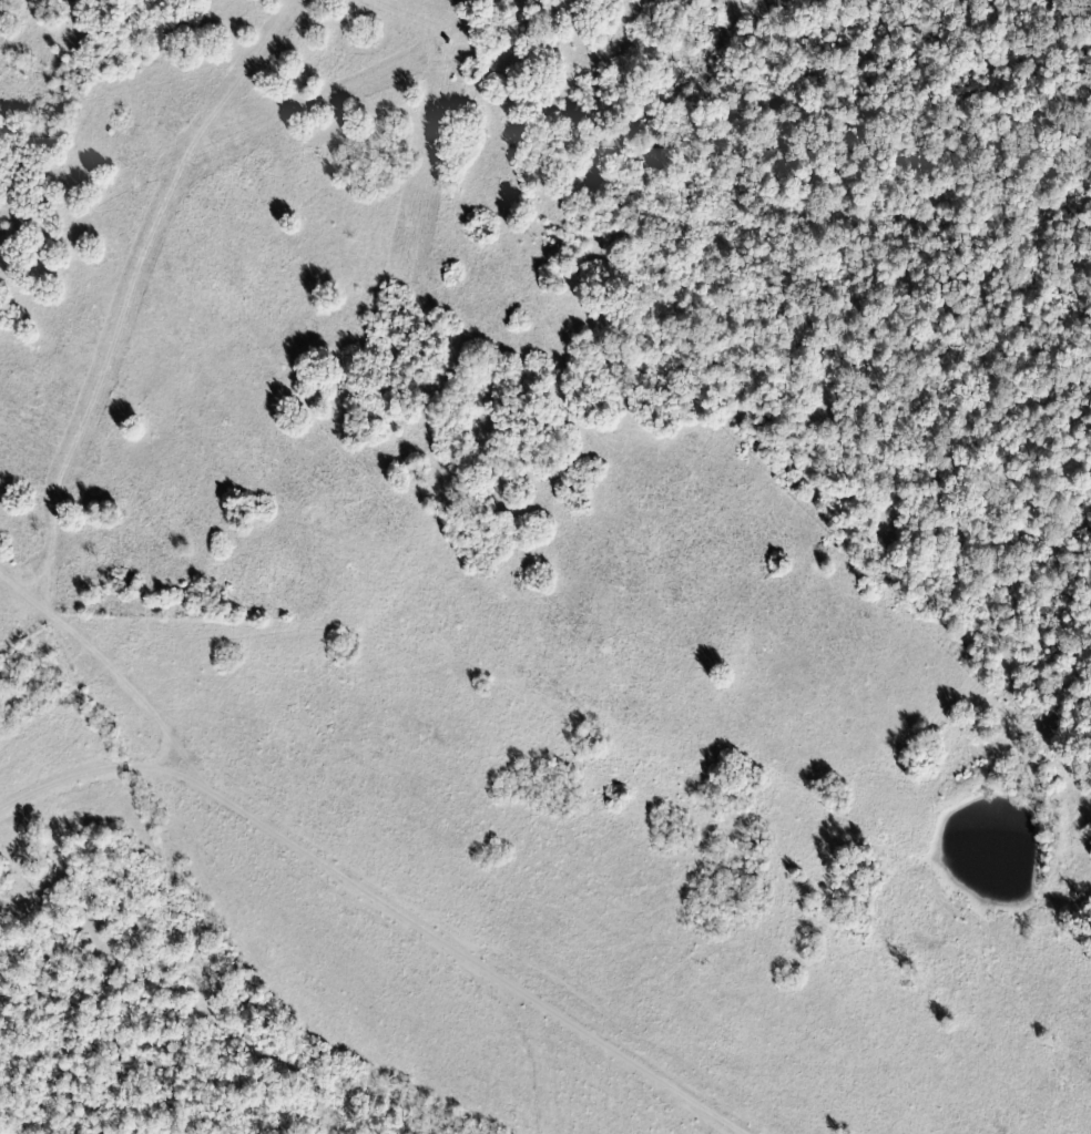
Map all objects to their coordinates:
road: (385, 902)

